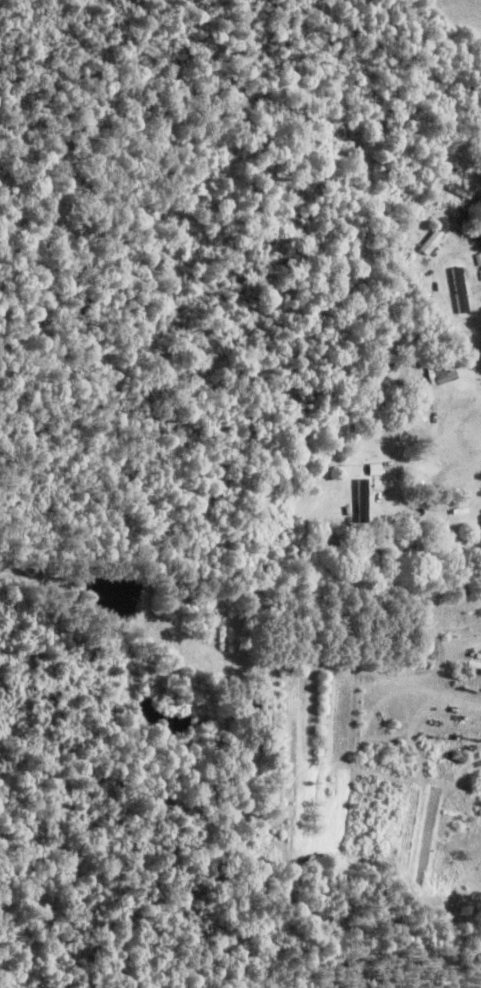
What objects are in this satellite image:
building: (465, 193)
building: (383, 217)
building: (436, 237)
building: (461, 291)
building: (445, 376)
building: (365, 499)

